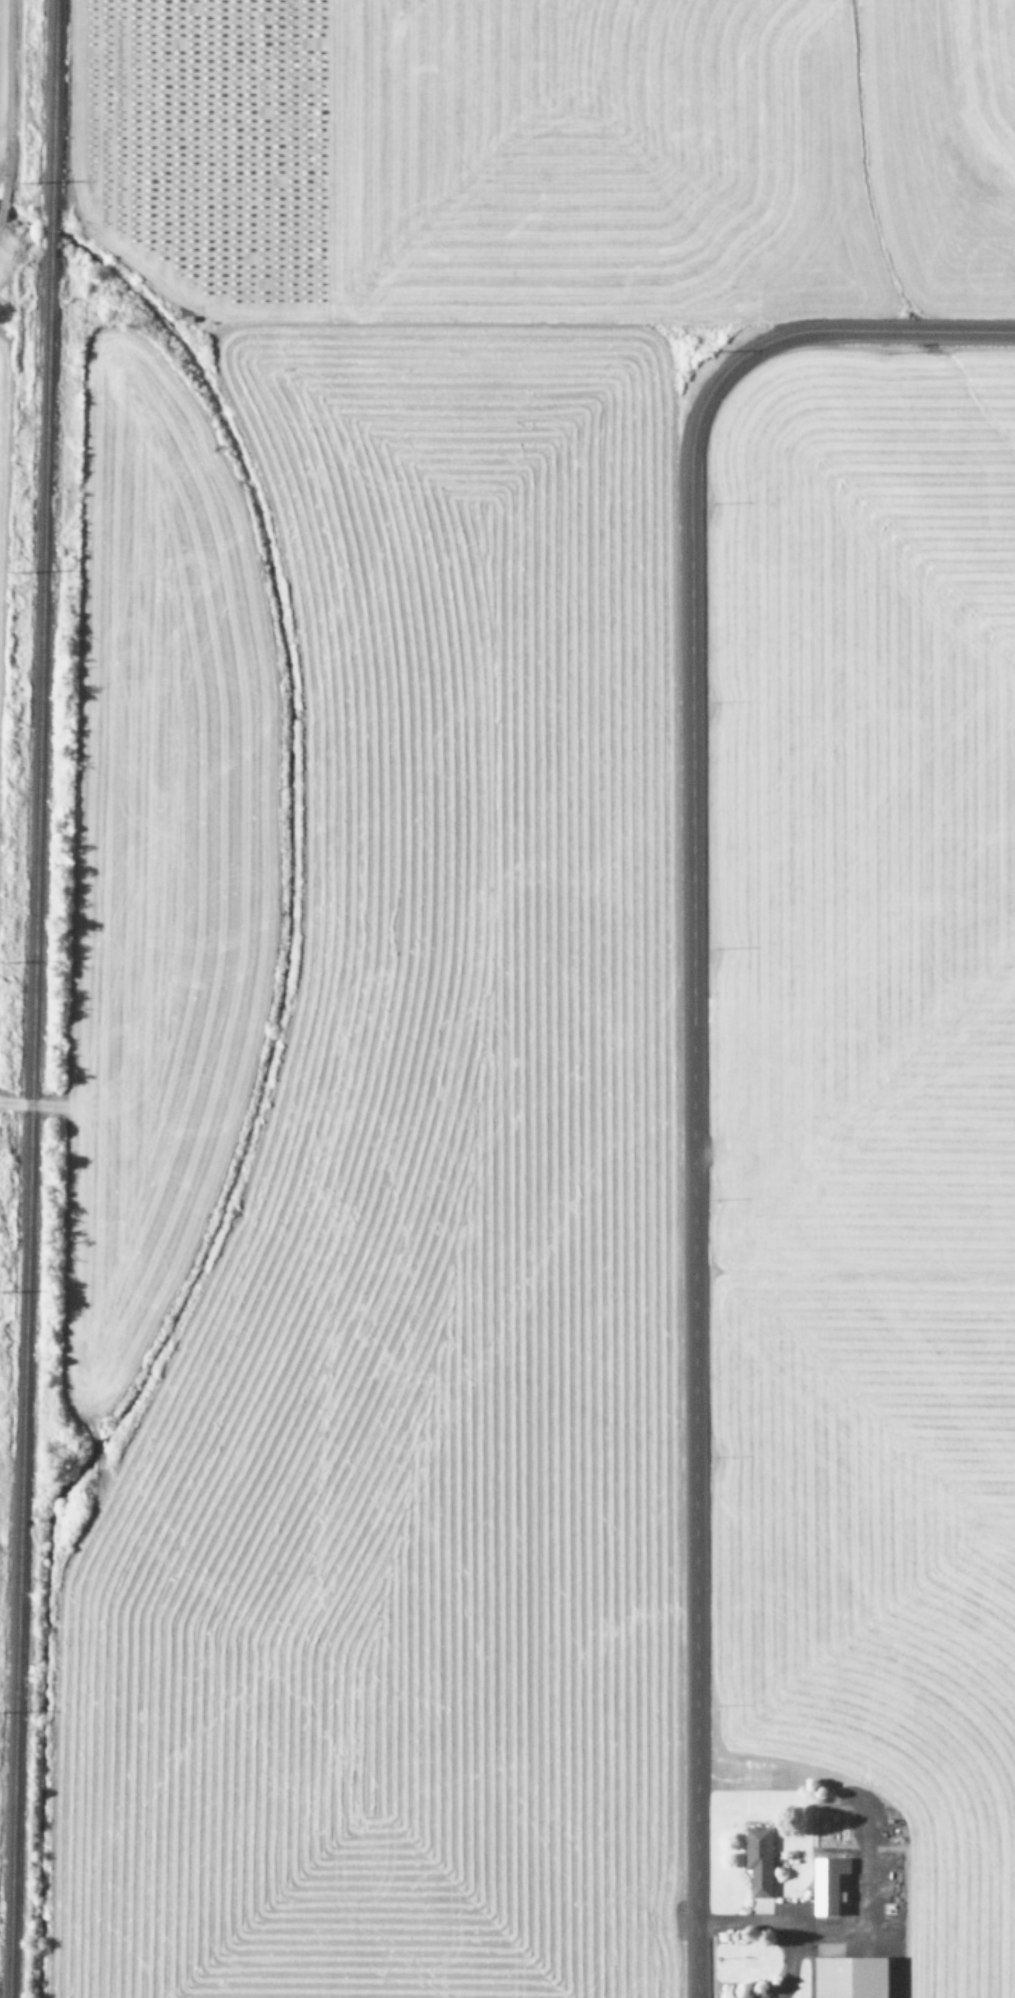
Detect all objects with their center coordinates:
crop: (1, 51)
railway: (51, 104)
railway: (48, 235)
crop: (537, 1007)
road: (687, 1027)
railway: (29, 1130)
building: (831, 1884)
building: (854, 1977)

